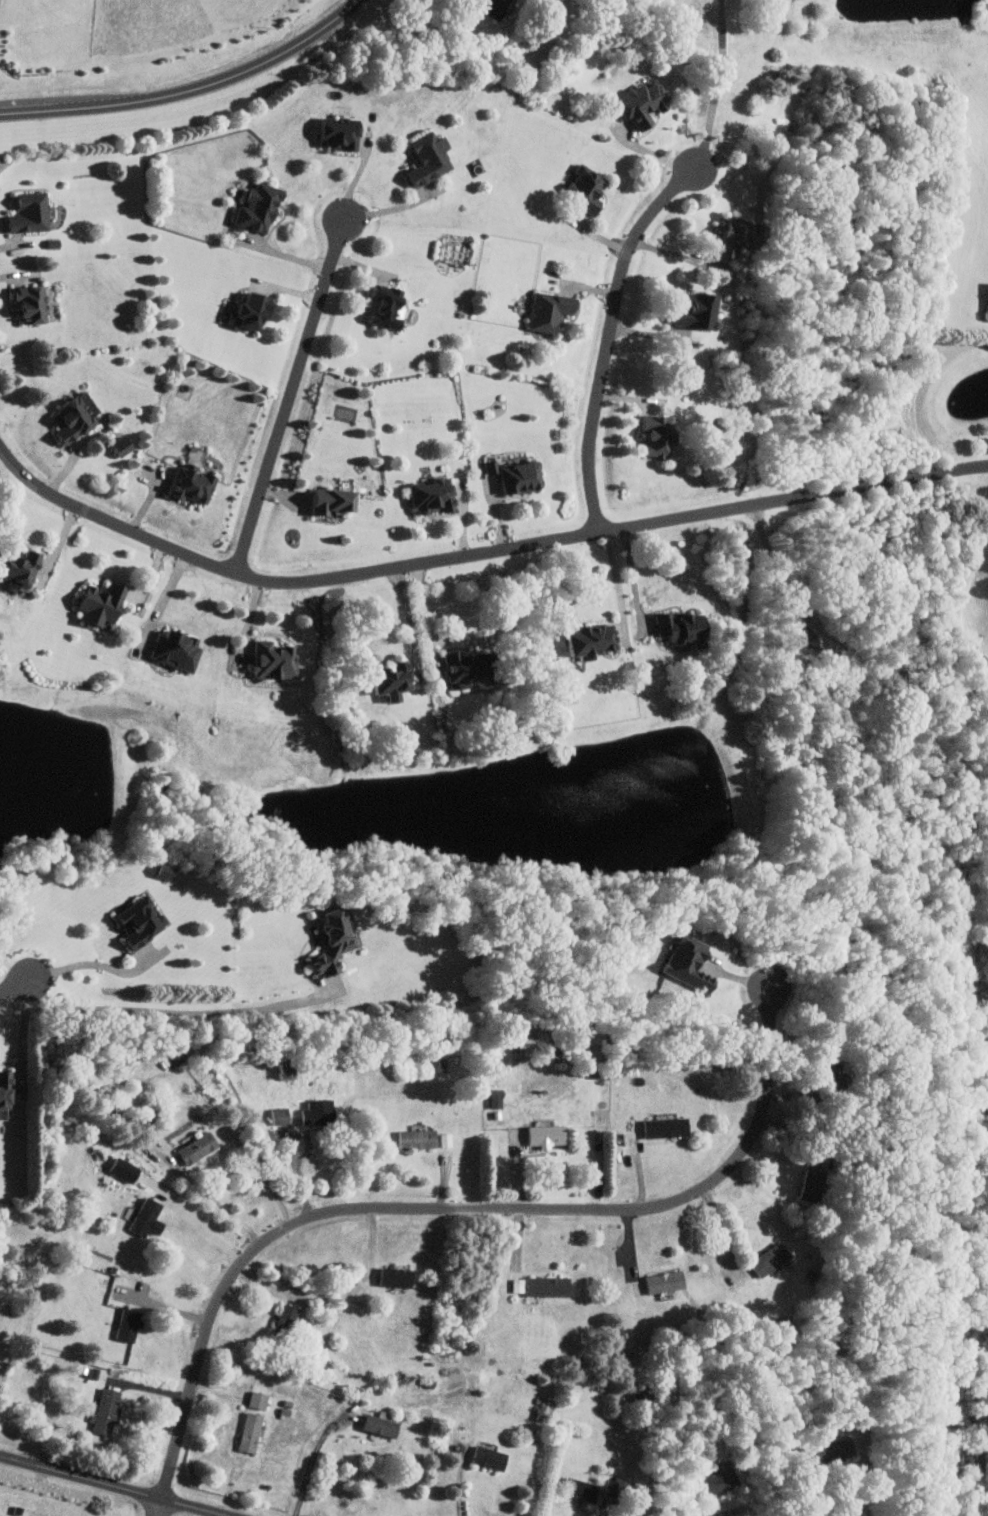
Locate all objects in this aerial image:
road: (430, 0)
building: (487, 7)
dam: (968, 34)
dam: (906, 36)
road: (718, 84)
road: (190, 90)
building: (636, 103)
building: (334, 133)
building: (422, 158)
building: (580, 188)
road: (391, 206)
building: (252, 208)
building: (24, 213)
building: (722, 235)
road: (676, 255)
building: (24, 303)
building: (380, 306)
building: (987, 307)
building: (244, 310)
building: (543, 311)
building: (690, 311)
road: (609, 334)
road: (290, 393)
building: (69, 416)
building: (651, 434)
building: (116, 446)
building: (513, 476)
building: (184, 485)
building: (427, 495)
building: (325, 501)
road: (477, 551)
road: (771, 566)
building: (14, 567)
road: (616, 583)
road: (166, 599)
building: (94, 604)
road: (407, 616)
road: (425, 616)
building: (673, 627)
building: (585, 639)
building: (170, 649)
building: (266, 660)
building: (454, 668)
building: (386, 680)
building: (131, 922)
road: (92, 963)
building: (683, 963)
road: (14, 991)
road: (182, 1012)
road: (20, 1035)
building: (281, 1073)
road: (145, 1080)
building: (3, 1090)
building: (491, 1099)
building: (314, 1112)
building: (277, 1116)
building: (661, 1128)
building: (541, 1136)
building: (413, 1139)
building: (442, 1139)
building: (193, 1148)
building: (121, 1171)
building: (805, 1185)
road: (447, 1208)
building: (141, 1217)
road: (202, 1229)
road: (724, 1233)
building: (765, 1260)
building: (391, 1277)
building: (661, 1282)
building: (543, 1286)
building: (281, 1321)
building: (122, 1324)
building: (254, 1399)
building: (104, 1411)
building: (377, 1424)
building: (246, 1432)
building: (831, 1450)
building: (484, 1457)
road: (312, 1461)
building: (716, 1480)
road: (459, 1482)
road: (103, 1488)
building: (578, 1489)
road: (806, 1490)
road: (159, 1510)

